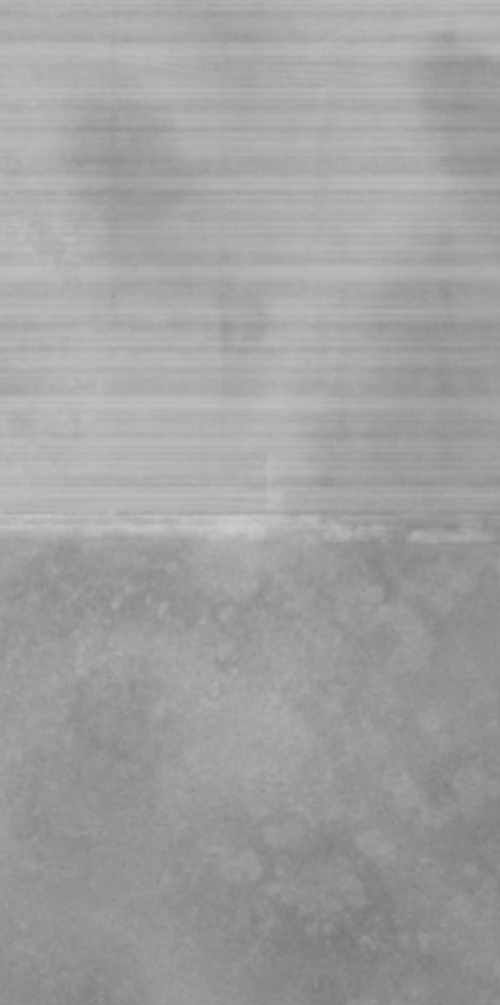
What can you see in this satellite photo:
road: (250, 519)

